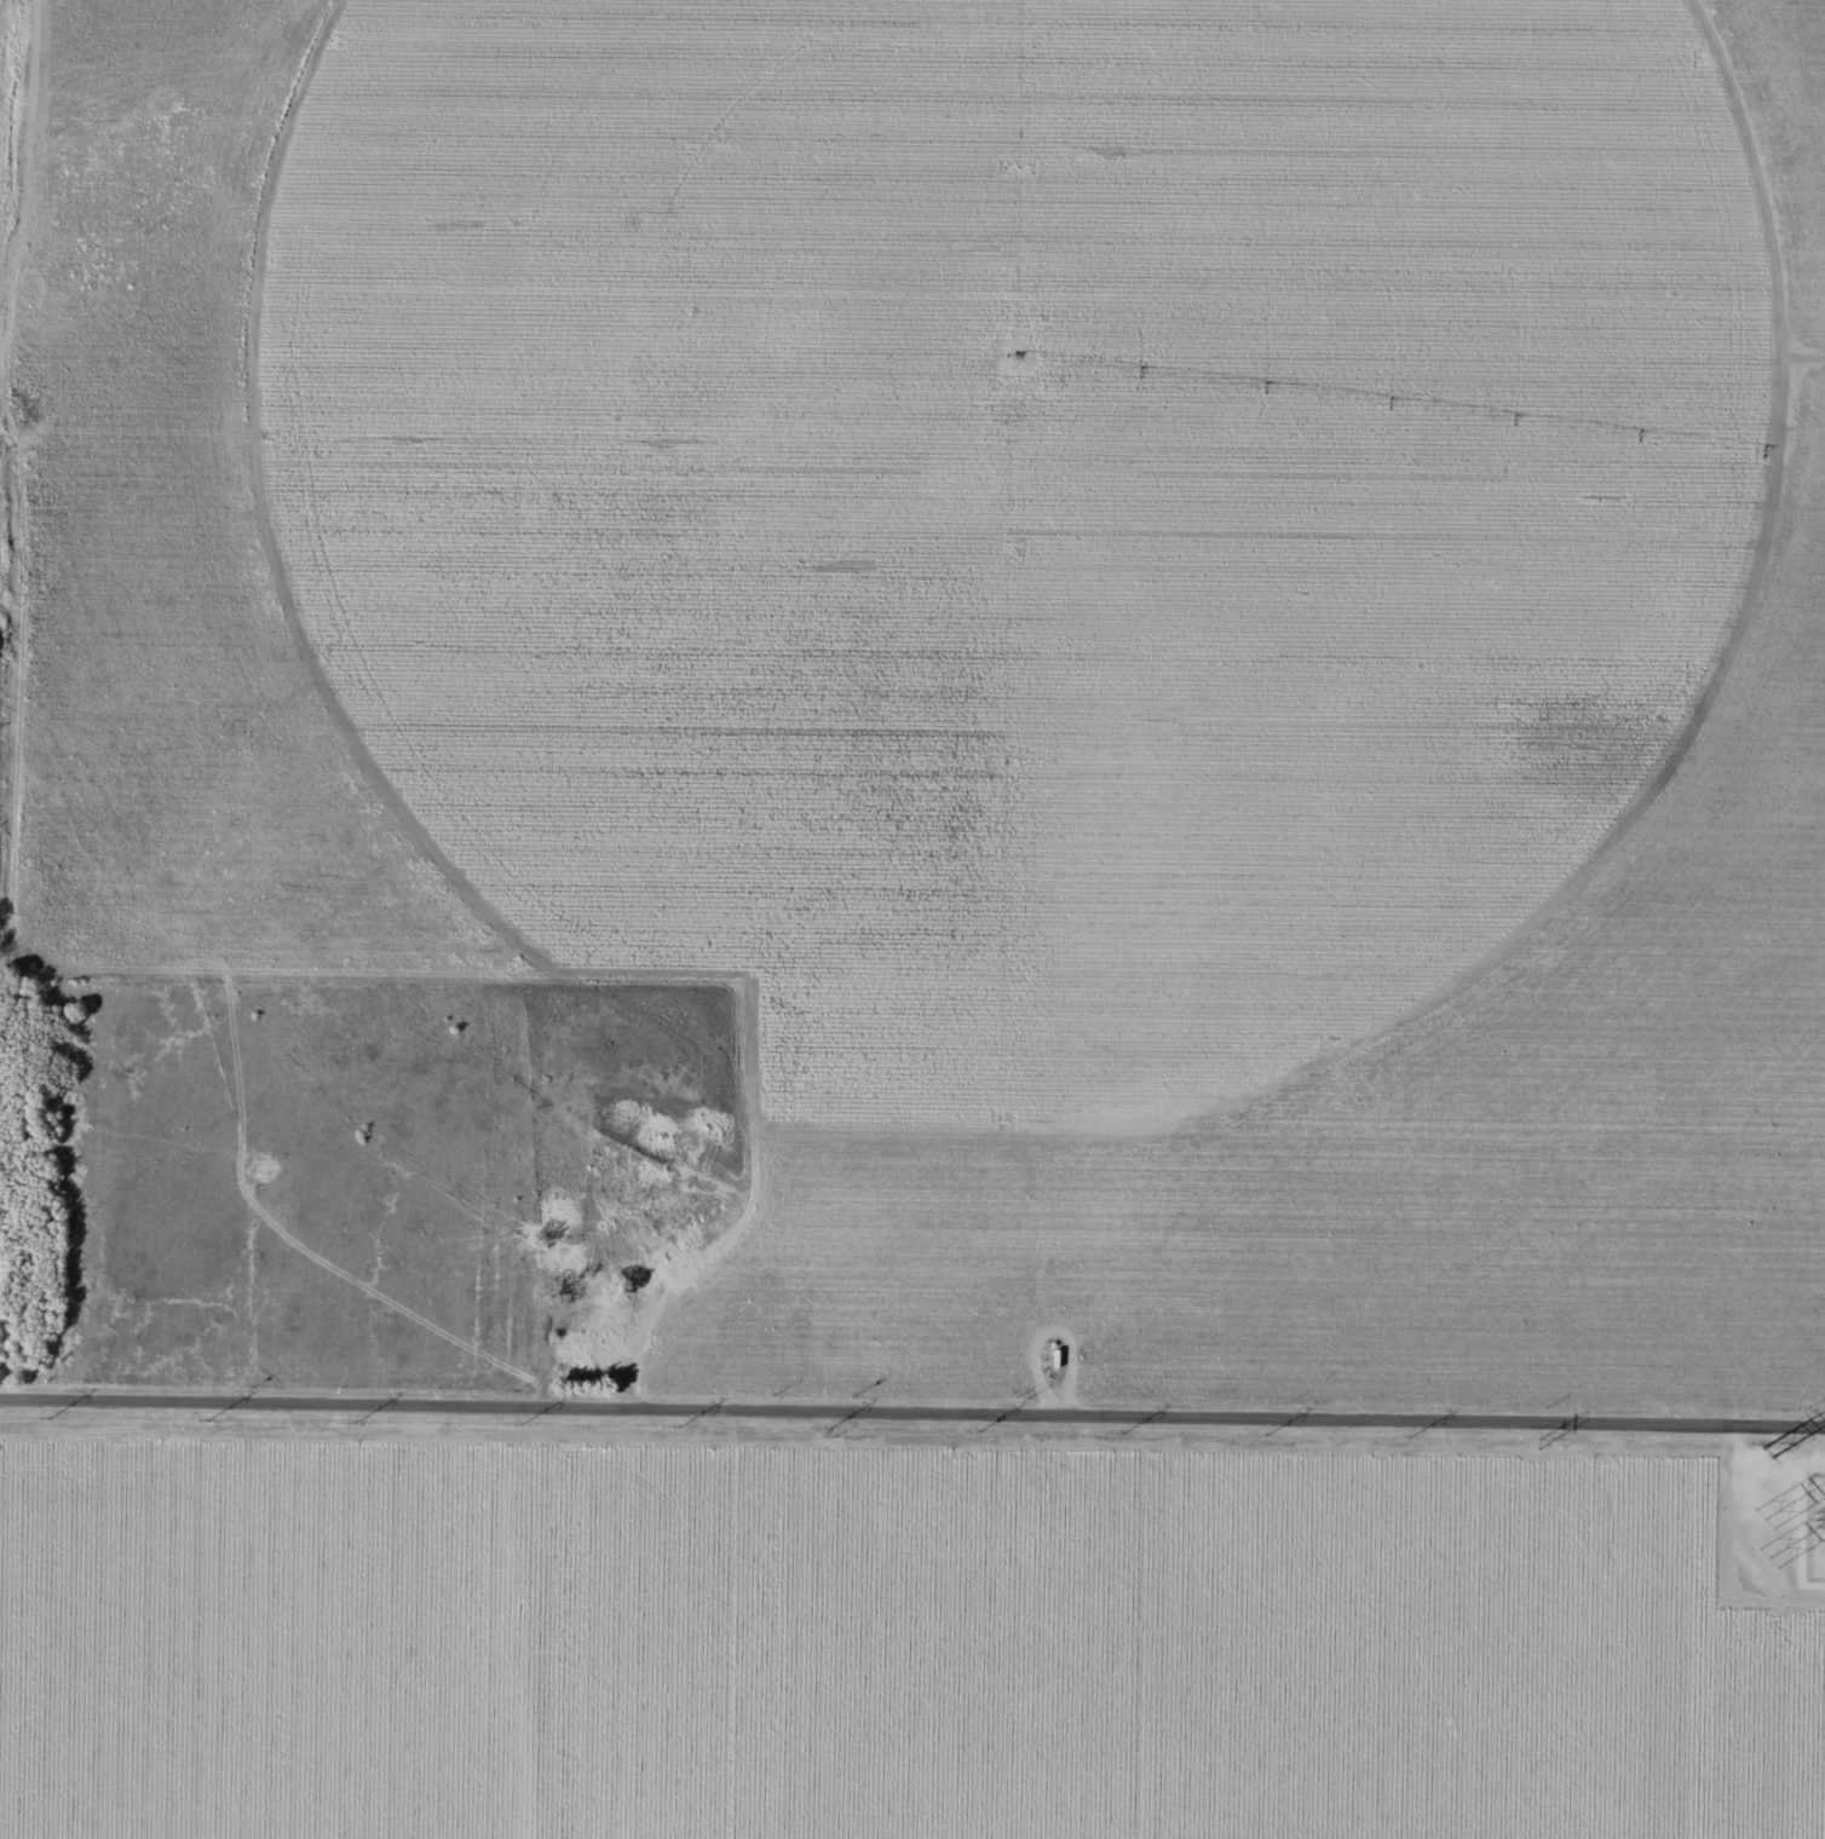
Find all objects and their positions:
road: (873, 1228)
building: (597, 1324)
road: (911, 1425)
power substation: (1815, 1530)

